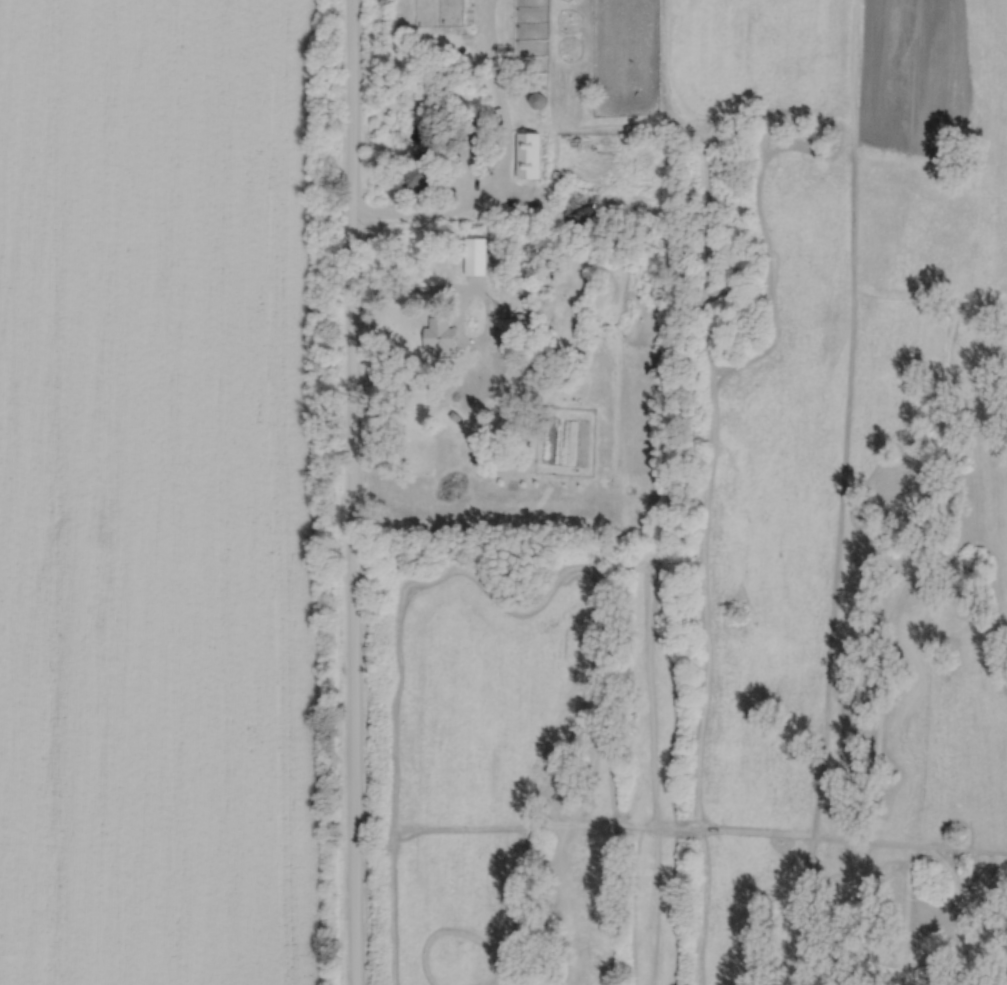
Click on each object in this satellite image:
building: (536, 99)
building: (463, 125)
building: (527, 153)
road: (501, 167)
building: (417, 171)
building: (580, 206)
building: (506, 210)
building: (474, 255)
road: (474, 288)
building: (497, 307)
building: (523, 320)
building: (438, 335)
building: (452, 415)
road: (351, 492)

